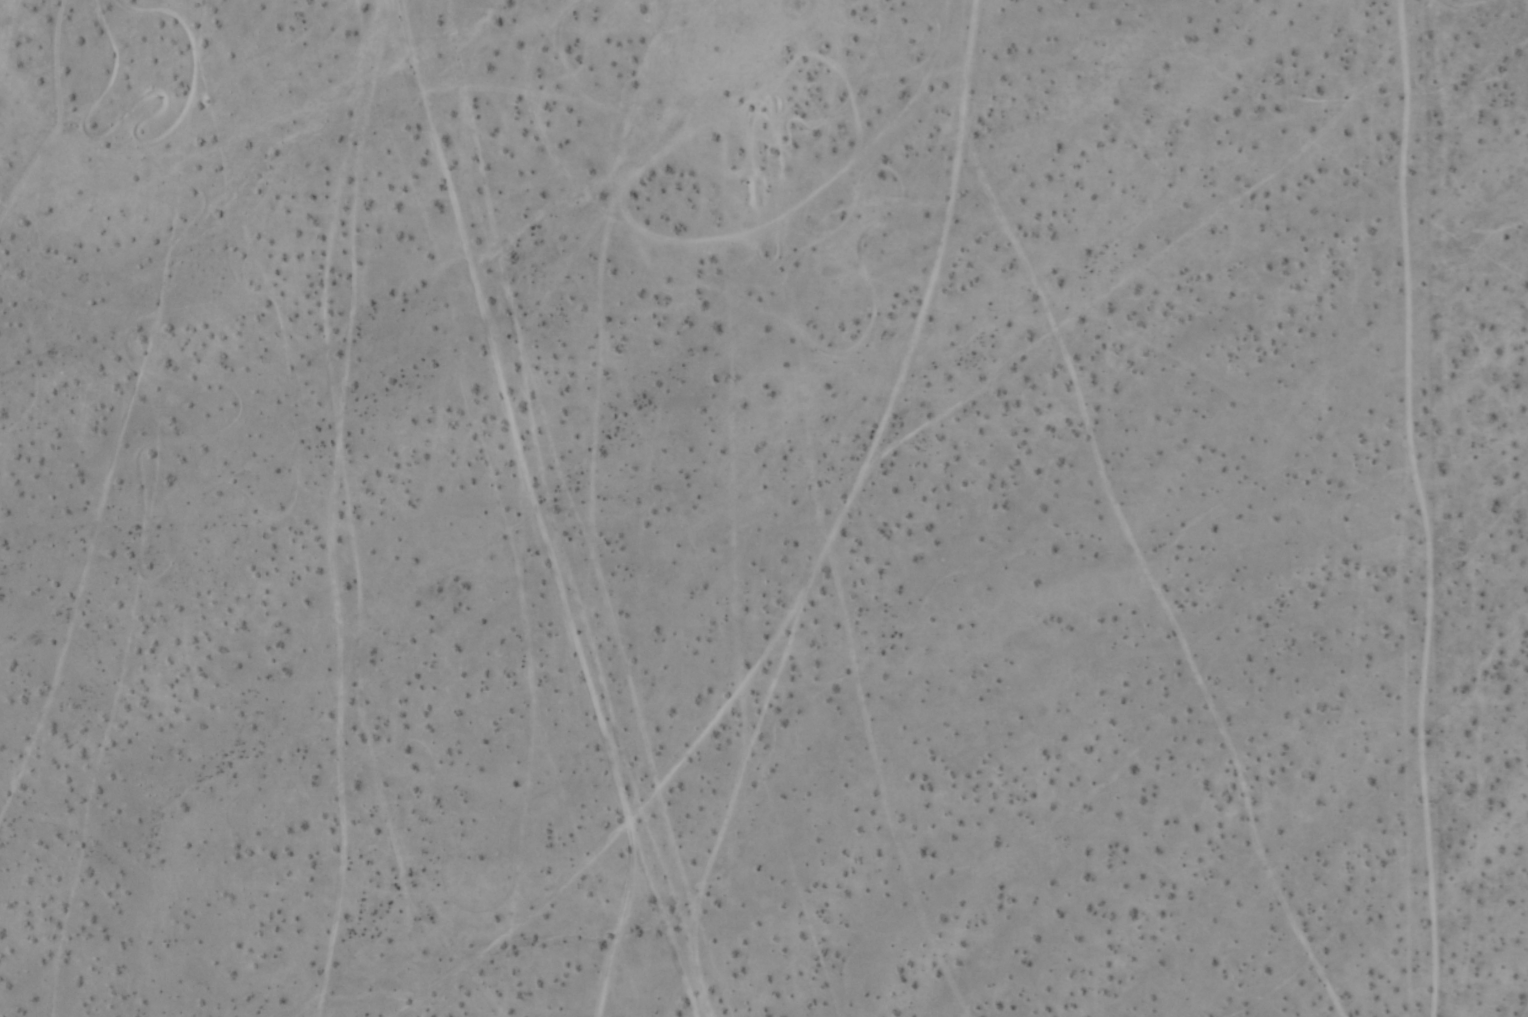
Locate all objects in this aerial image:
park: (144, 44)
crop: (764, 508)
road: (811, 579)

